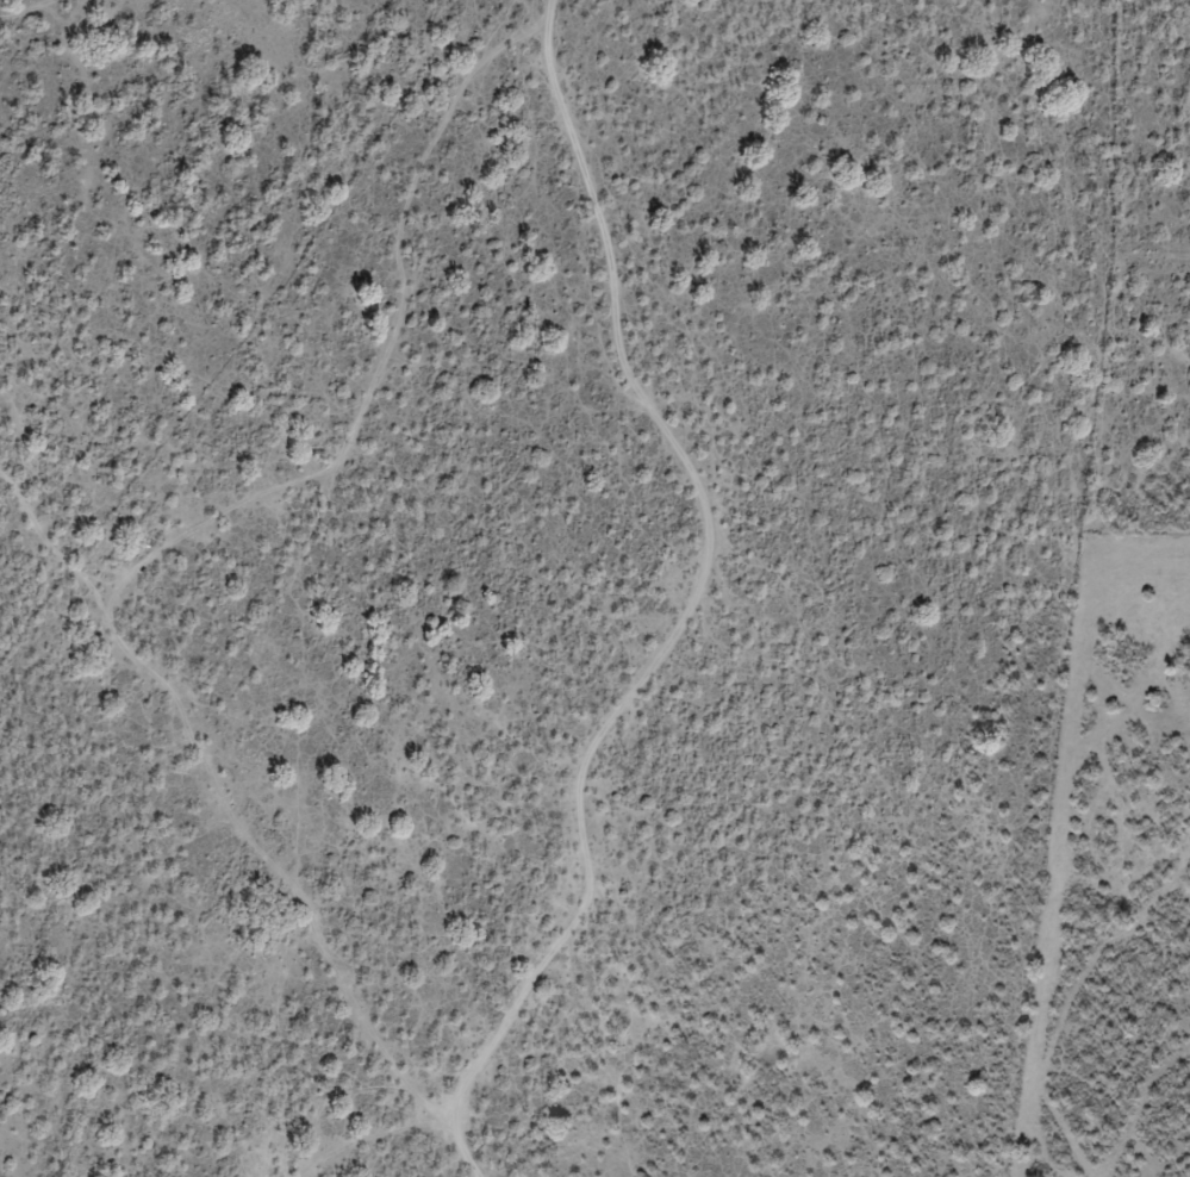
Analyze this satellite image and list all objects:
road: (727, 597)
road: (262, 820)

